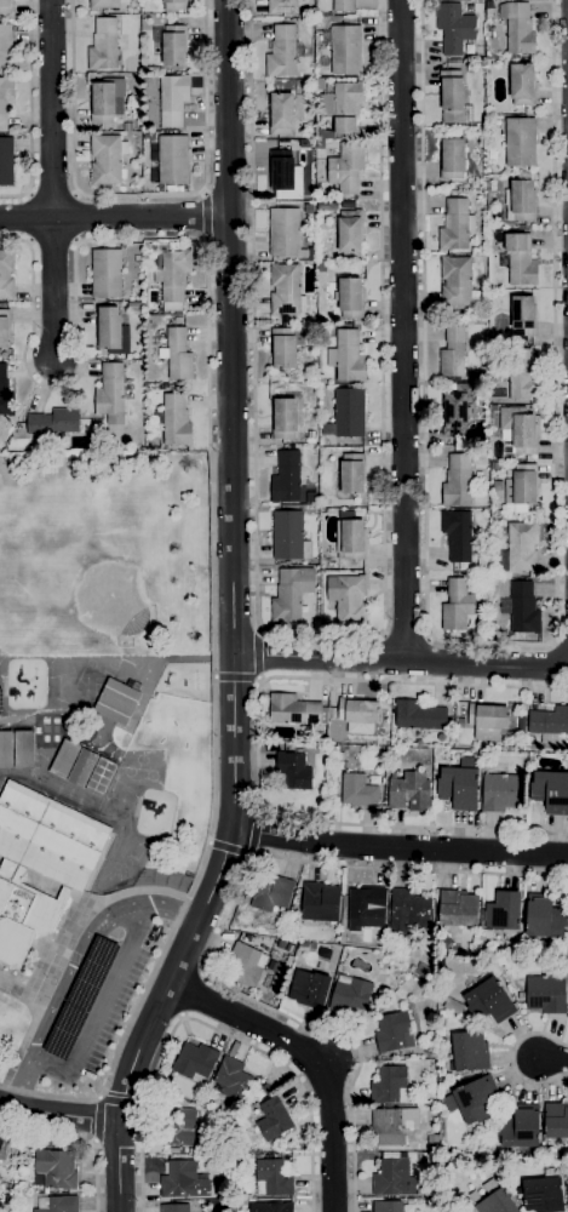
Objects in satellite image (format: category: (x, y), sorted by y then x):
building: (103, 4)
building: (174, 5)
building: (343, 5)
building: (281, 6)
building: (5, 7)
building: (454, 28)
building: (518, 28)
building: (103, 45)
building: (172, 45)
building: (6, 48)
building: (345, 51)
building: (282, 52)
building: (522, 85)
building: (452, 96)
building: (6, 99)
building: (173, 99)
building: (107, 101)
building: (343, 105)
road: (51, 109)
road: (29, 110)
building: (281, 114)
building: (127, 127)
building: (149, 137)
building: (520, 142)
building: (303, 144)
building: (320, 145)
building: (492, 155)
building: (107, 159)
building: (452, 159)
building: (170, 160)
building: (6, 161)
building: (346, 167)
building: (281, 170)
building: (179, 189)
road: (139, 194)
building: (521, 201)
building: (348, 205)
building: (327, 207)
building: (309, 208)
road: (205, 216)
road: (115, 218)
building: (455, 225)
building: (350, 231)
building: (285, 234)
building: (150, 247)
building: (311, 253)
building: (521, 259)
building: (321, 267)
building: (107, 274)
building: (6, 275)
building: (173, 278)
building: (455, 281)
road: (53, 288)
building: (286, 290)
building: (350, 298)
building: (134, 307)
building: (523, 315)
building: (5, 328)
building: (321, 331)
road: (402, 331)
building: (111, 332)
building: (285, 347)
building: (453, 351)
building: (178, 355)
building: (348, 356)
building: (522, 377)
building: (110, 390)
building: (5, 394)
building: (455, 410)
building: (346, 415)
building: (283, 418)
building: (173, 421)
building: (54, 422)
building: (517, 431)
building: (310, 438)
building: (1, 446)
building: (352, 474)
building: (286, 479)
building: (457, 481)
building: (521, 487)
road: (212, 488)
building: (311, 498)
building: (457, 534)
building: (289, 536)
building: (350, 539)
building: (521, 547)
building: (483, 564)
building: (291, 593)
building: (348, 601)
building: (457, 605)
building: (523, 608)
road: (234, 617)
road: (405, 635)
road: (321, 638)
road: (493, 642)
road: (258, 653)
road: (401, 662)
road: (237, 678)
building: (117, 701)
building: (522, 709)
building: (296, 710)
building: (358, 711)
building: (417, 715)
building: (459, 724)
building: (489, 724)
building: (550, 724)
building: (521, 726)
building: (319, 736)
road: (257, 744)
building: (6, 750)
building: (23, 750)
building: (476, 755)
building: (340, 756)
building: (64, 759)
building: (82, 768)
building: (293, 771)
building: (101, 777)
building: (458, 788)
building: (358, 791)
building: (409, 791)
building: (551, 791)
building: (501, 793)
road: (254, 830)
road: (228, 847)
road: (398, 848)
building: (40, 864)
building: (271, 893)
building: (320, 902)
building: (366, 908)
building: (458, 908)
building: (409, 911)
building: (503, 914)
building: (545, 920)
road: (222, 924)
building: (286, 937)
building: (303, 945)
building: (289, 960)
building: (246, 965)
road: (76, 968)
building: (309, 989)
building: (545, 994)
road: (193, 995)
building: (350, 995)
building: (489, 1002)
road: (101, 1007)
building: (453, 1007)
parking lot: (101, 1008)
building: (442, 1016)
road: (212, 1028)
building: (394, 1033)
building: (469, 1051)
road: (315, 1057)
road: (512, 1058)
road: (552, 1060)
building: (195, 1063)
building: (231, 1081)
building: (389, 1085)
building: (266, 1088)
road: (122, 1100)
building: (476, 1100)
road: (59, 1114)
road: (98, 1120)
building: (274, 1120)
building: (556, 1121)
building: (178, 1126)
building: (392, 1126)
building: (520, 1127)
road: (82, 1139)
building: (432, 1144)
building: (5, 1150)
building: (174, 1150)
building: (435, 1157)
building: (54, 1168)
building: (272, 1178)
building: (394, 1178)
building: (183, 1180)
building: (543, 1193)
building: (474, 1196)
building: (495, 1200)
building: (57, 1204)
building: (388, 1206)
building: (270, 1207)
building: (178, 1208)

